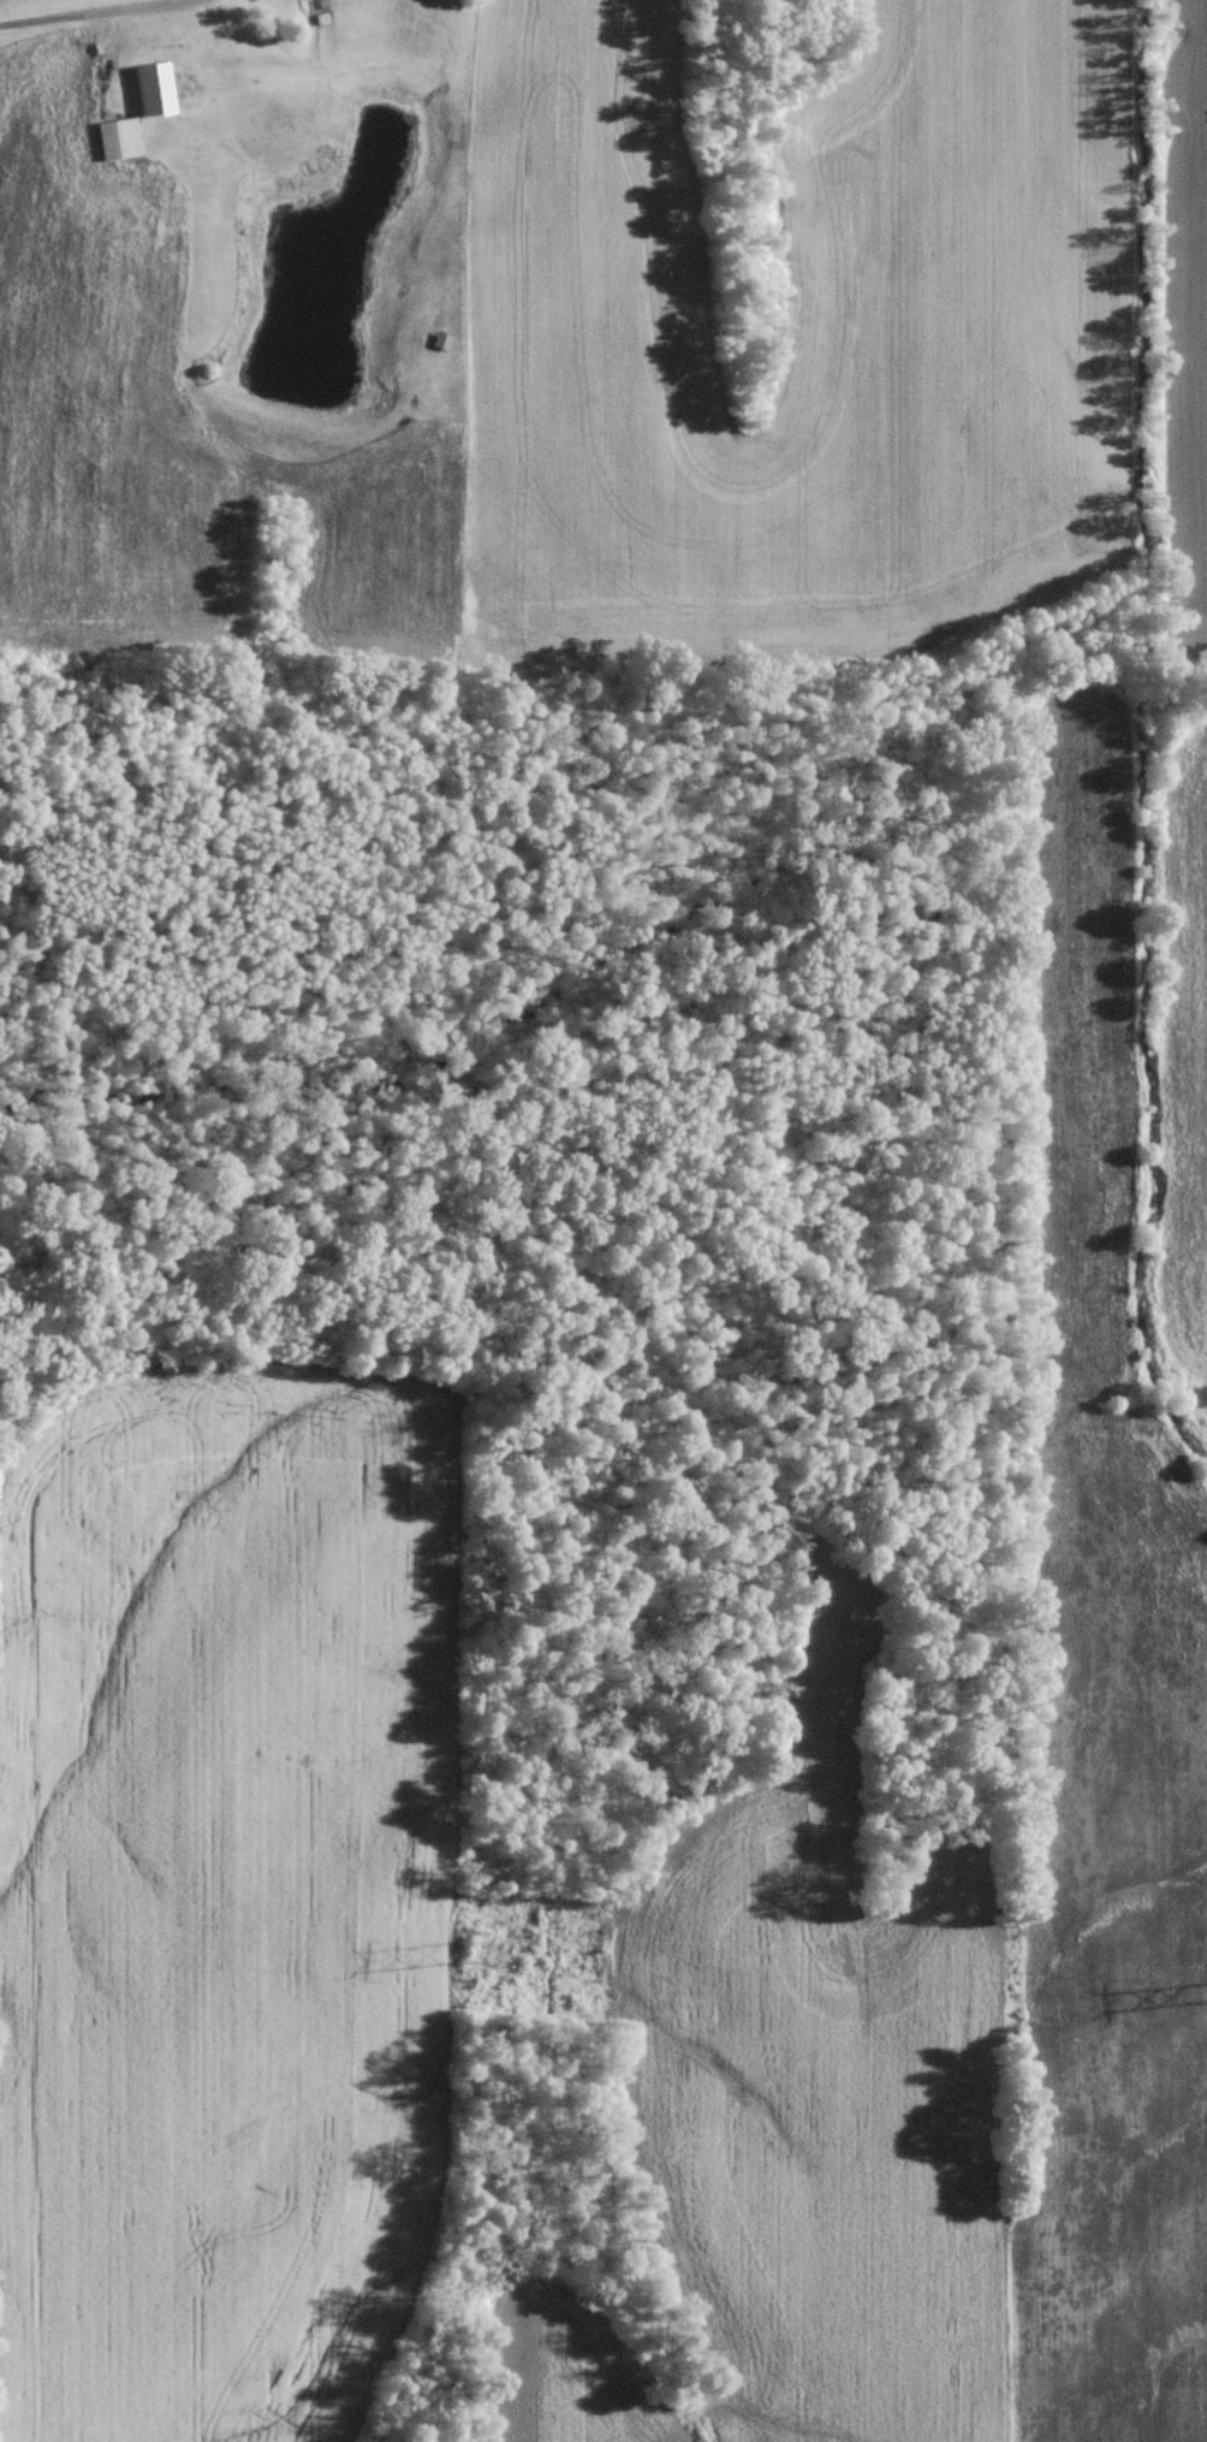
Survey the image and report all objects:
road: (88, 11)
building: (113, 144)
building: (436, 346)
power tower: (452, 1957)

